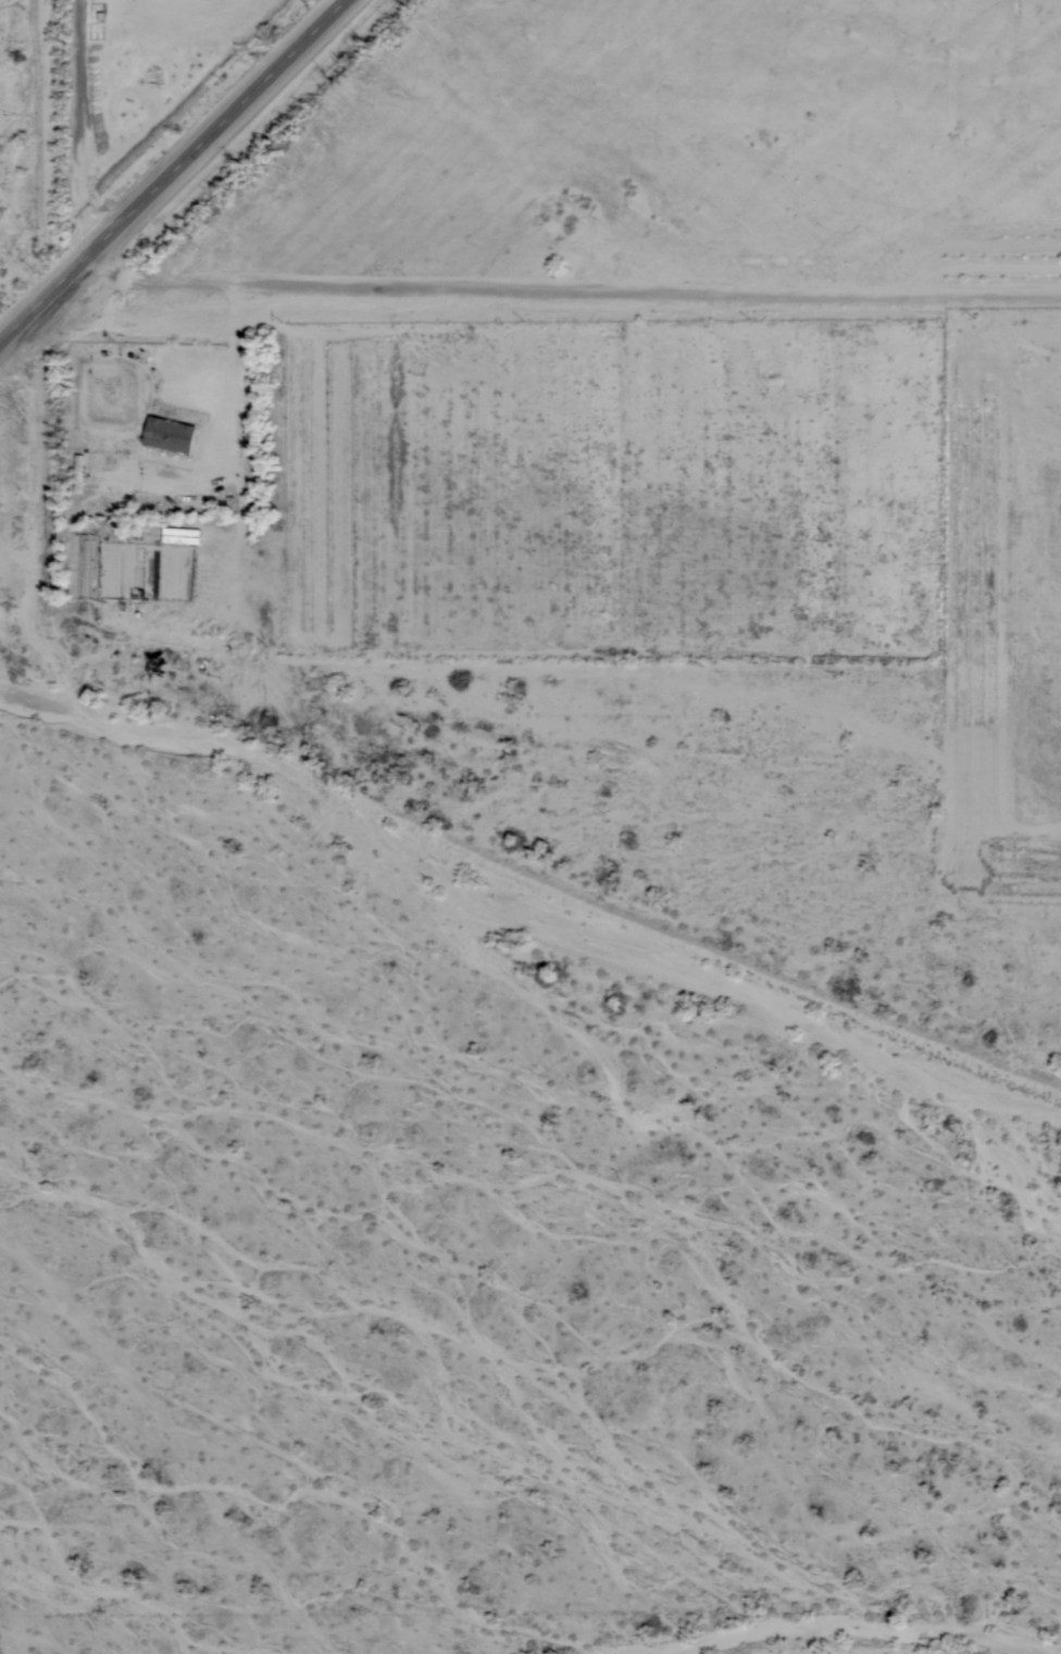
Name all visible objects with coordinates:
road: (168, 167)
building: (215, 238)
building: (167, 435)
building: (78, 473)

